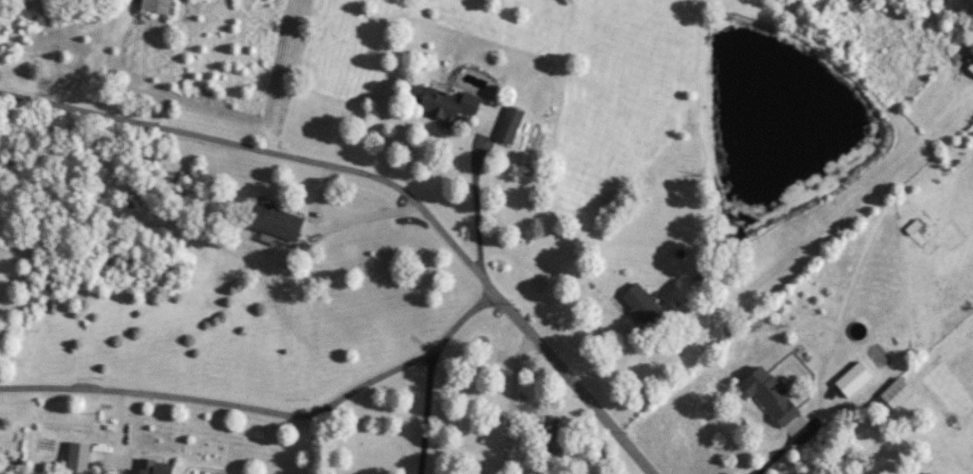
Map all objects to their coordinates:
building: (159, 6)
building: (971, 58)
building: (446, 105)
building: (510, 126)
road: (380, 190)
road: (471, 206)
building: (278, 222)
building: (914, 227)
building: (645, 307)
building: (855, 379)
building: (898, 393)
building: (773, 396)
road: (512, 405)
road: (262, 409)
road: (421, 410)
road: (115, 430)
building: (553, 435)
road: (776, 454)
building: (80, 458)
building: (155, 467)

